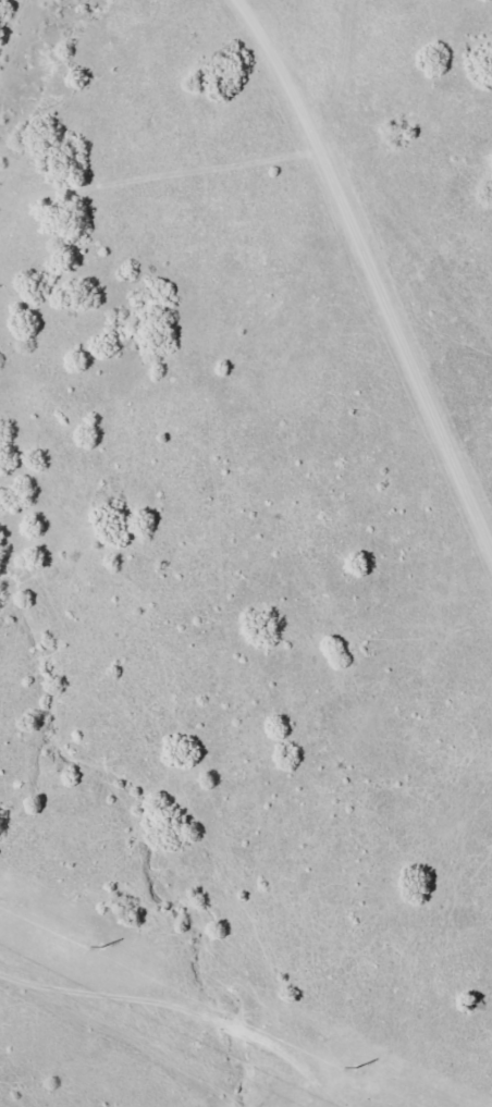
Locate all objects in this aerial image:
road: (374, 263)

